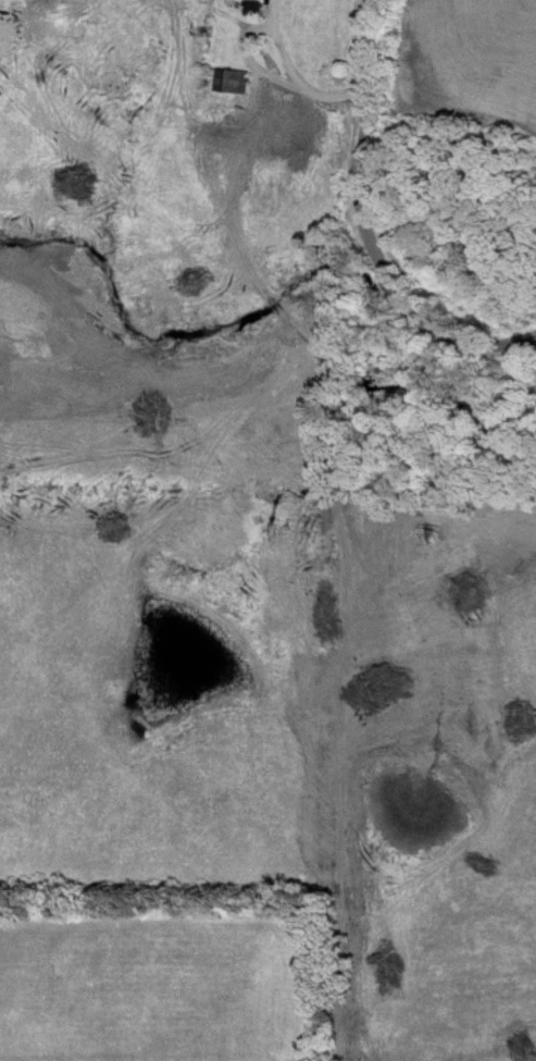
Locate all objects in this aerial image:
building: (257, 10)
building: (72, 14)
road: (249, 61)
road: (295, 77)
building: (235, 83)
road: (361, 143)
road: (451, 334)

